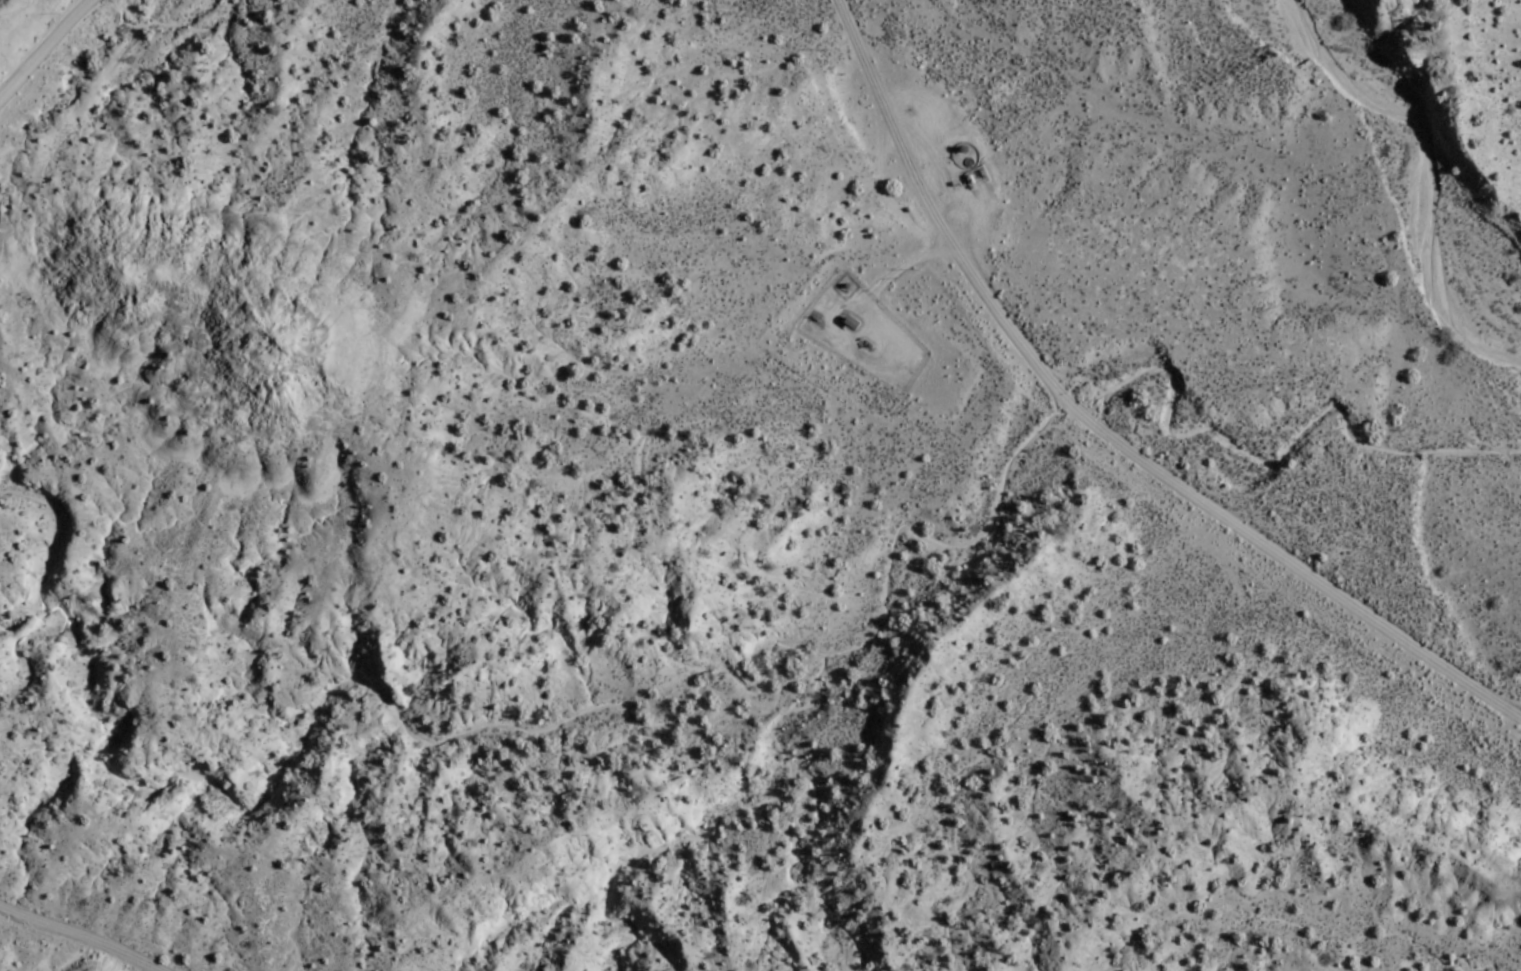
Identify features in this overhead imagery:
road: (40, 42)
river: (1445, 229)
road: (822, 319)
road: (1093, 434)
road: (75, 938)

